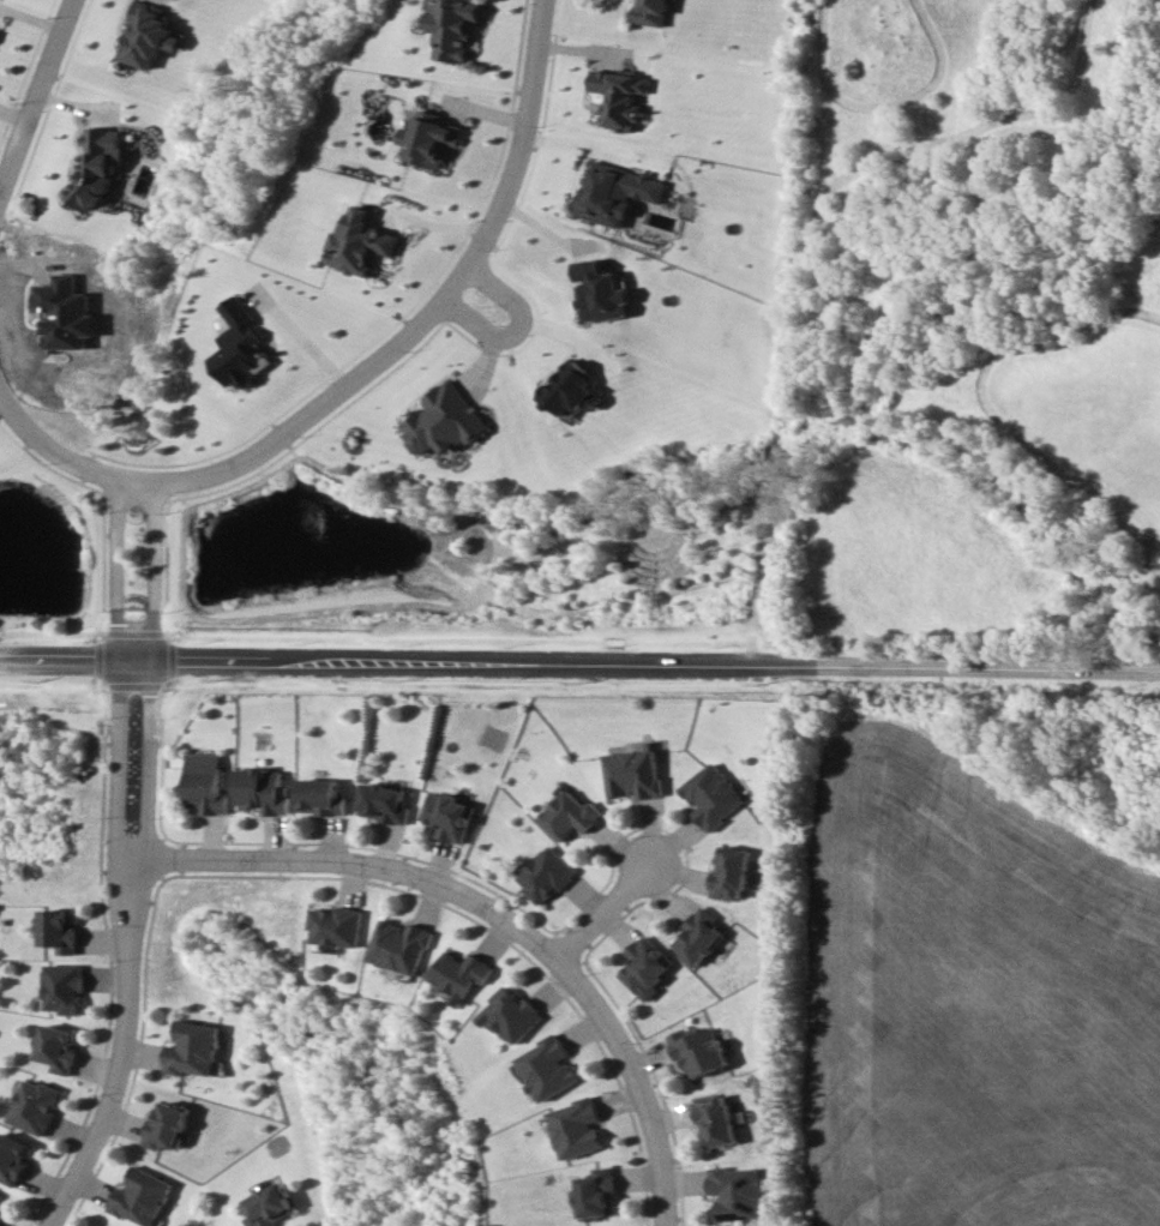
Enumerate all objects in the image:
building: (650, 12)
building: (455, 28)
building: (149, 34)
road: (36, 94)
building: (621, 96)
building: (431, 139)
building: (97, 164)
building: (615, 192)
building: (361, 242)
building: (600, 292)
building: (65, 312)
road: (423, 317)
road: (517, 332)
building: (241, 345)
building: (572, 390)
building: (445, 420)
road: (136, 488)
road: (579, 656)
building: (632, 774)
building: (205, 783)
building: (263, 791)
building: (710, 795)
building: (320, 797)
building: (383, 803)
building: (570, 815)
building: (447, 816)
road: (361, 866)
building: (728, 873)
building: (546, 875)
road: (603, 914)
building: (337, 926)
building: (61, 930)
building: (697, 936)
building: (402, 945)
road: (132, 949)
building: (644, 967)
building: (462, 975)
building: (65, 988)
building: (513, 1014)
building: (58, 1047)
building: (193, 1048)
building: (698, 1048)
building: (552, 1068)
road: (639, 1083)
building: (35, 1106)
building: (714, 1118)
building: (164, 1124)
building: (581, 1128)
building: (13, 1156)
building: (600, 1192)
building: (734, 1192)
building: (0, 1194)
building: (138, 1196)
building: (270, 1206)
building: (0, 1216)

